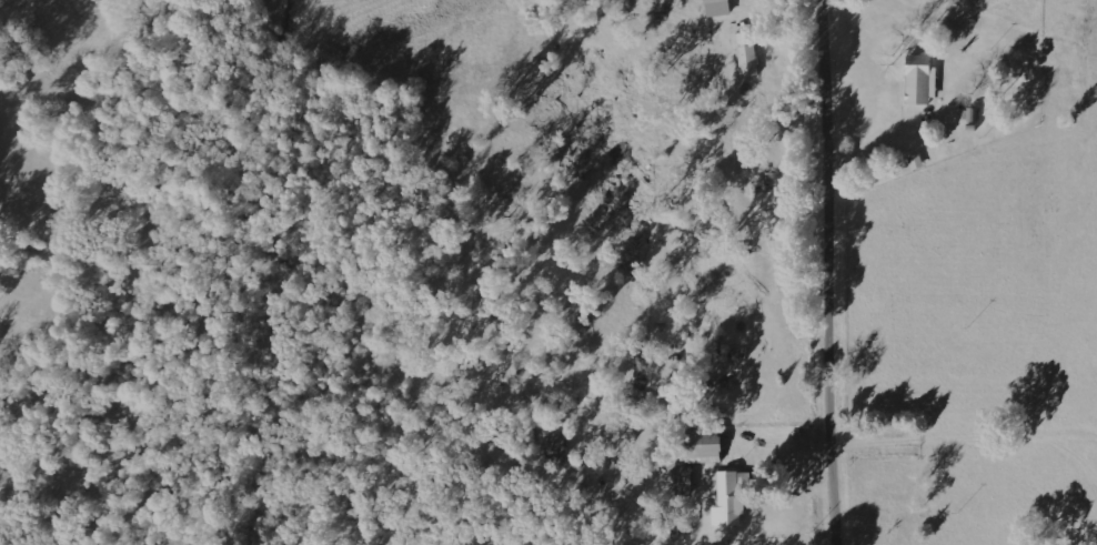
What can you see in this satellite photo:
building: (715, 7)
building: (744, 51)
building: (918, 79)
road: (838, 272)
building: (700, 442)
building: (554, 444)
building: (725, 497)

